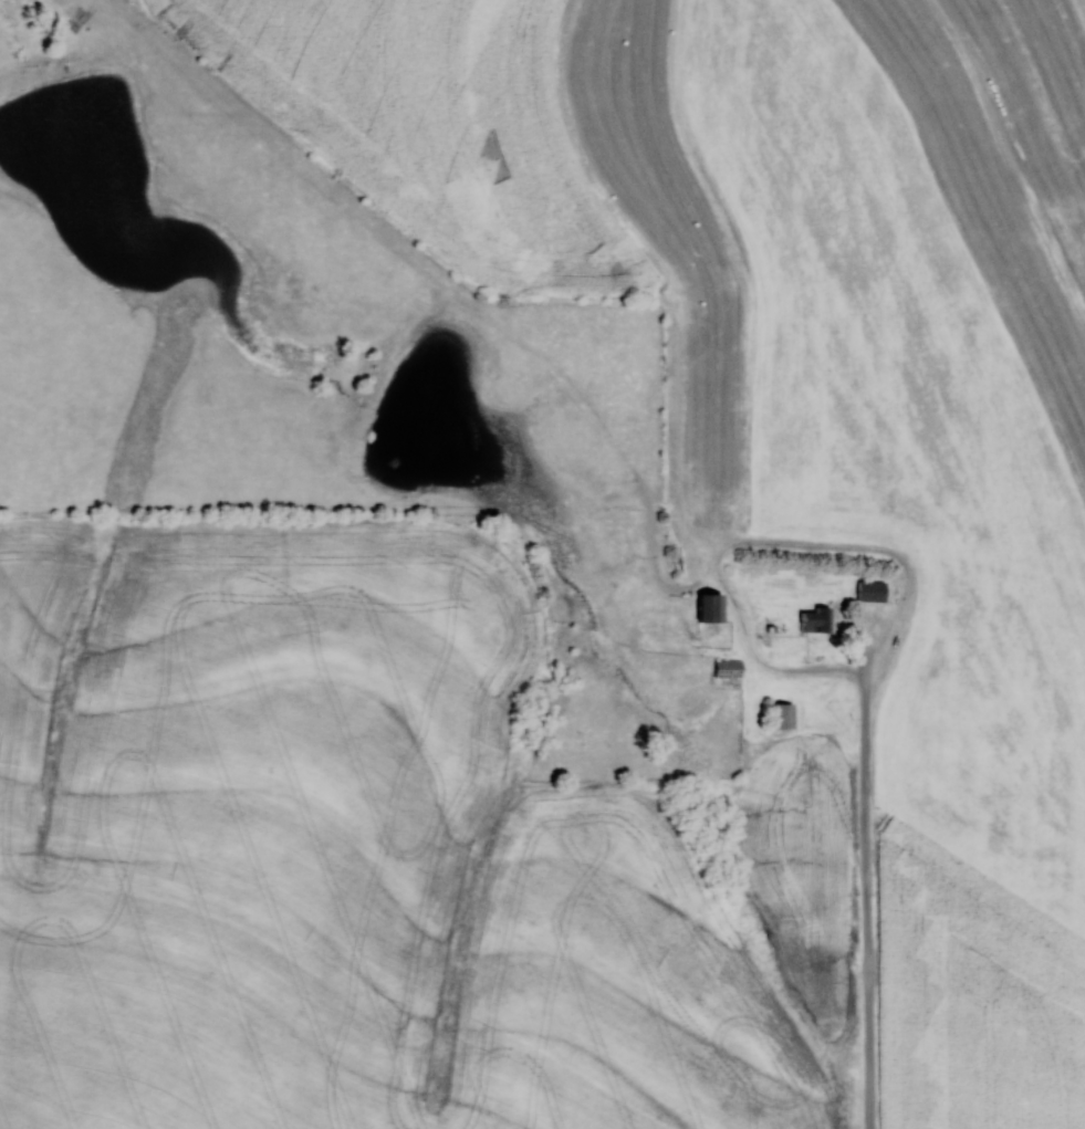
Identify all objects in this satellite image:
building: (872, 592)
building: (712, 609)
building: (817, 620)
building: (783, 717)
road: (869, 876)

